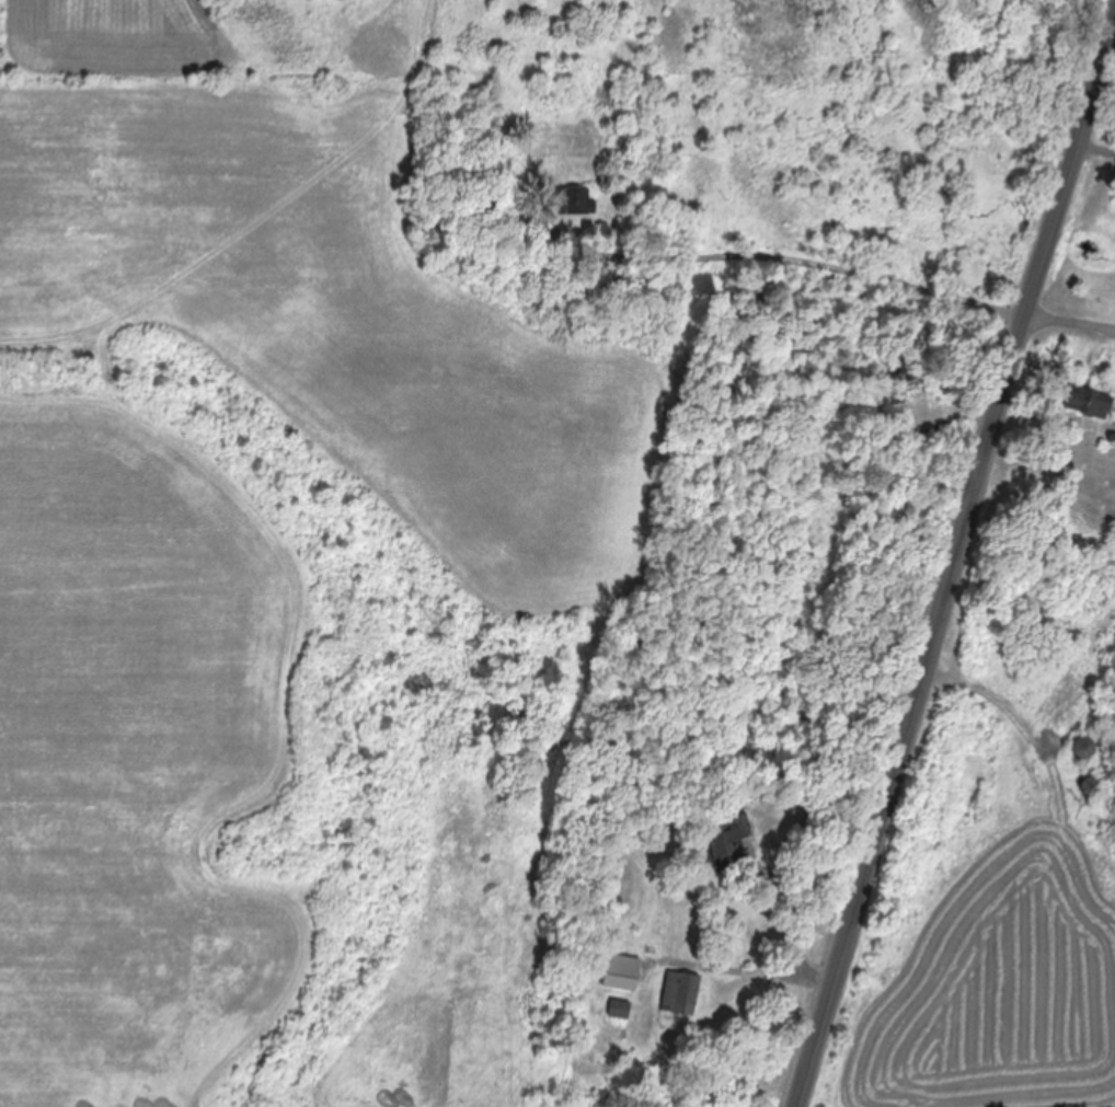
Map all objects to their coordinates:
building: (574, 201)
building: (1089, 403)
road: (953, 556)
building: (1082, 749)
building: (1089, 787)
building: (727, 837)
building: (681, 995)
building: (620, 1011)

